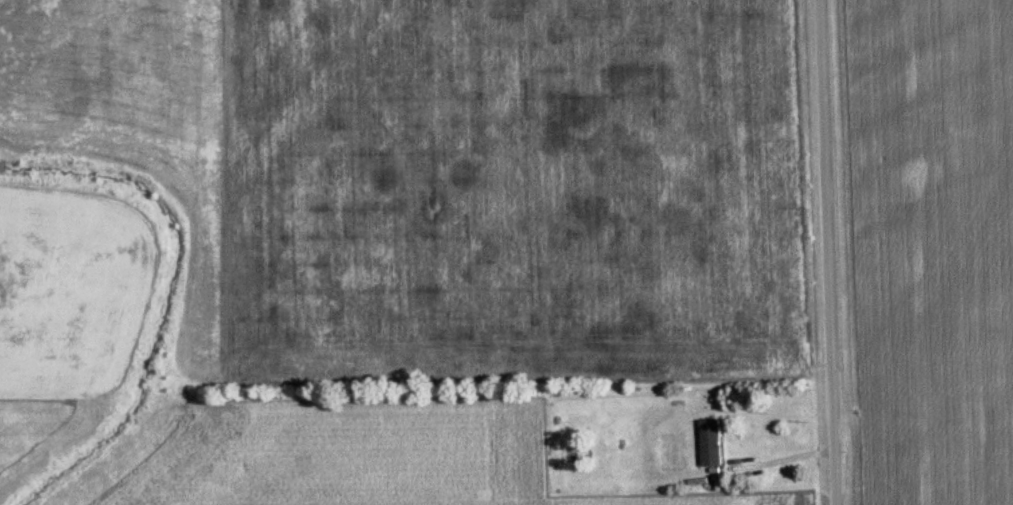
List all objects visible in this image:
road: (828, 252)
building: (705, 444)
crop: (342, 457)
road: (782, 460)

